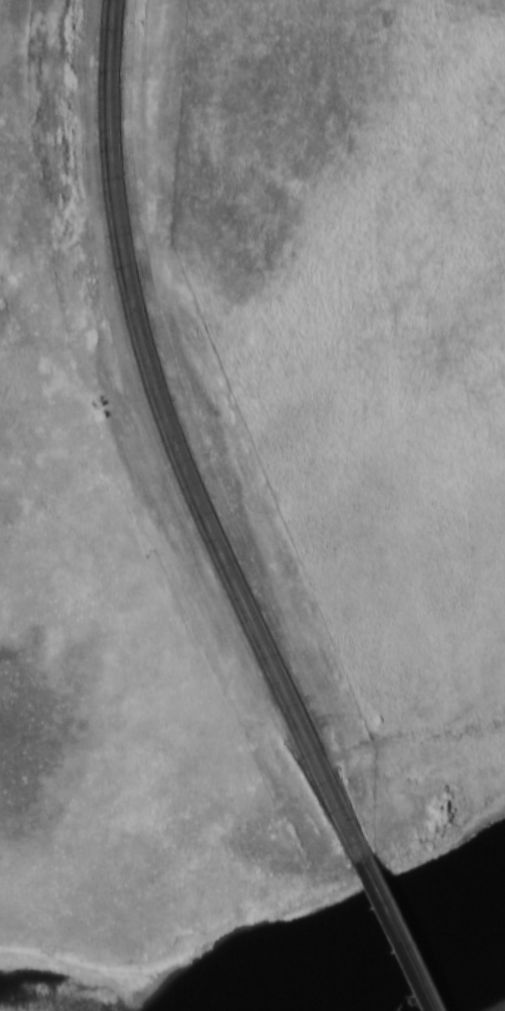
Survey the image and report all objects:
road: (179, 441)
road: (395, 933)
river: (402, 958)

